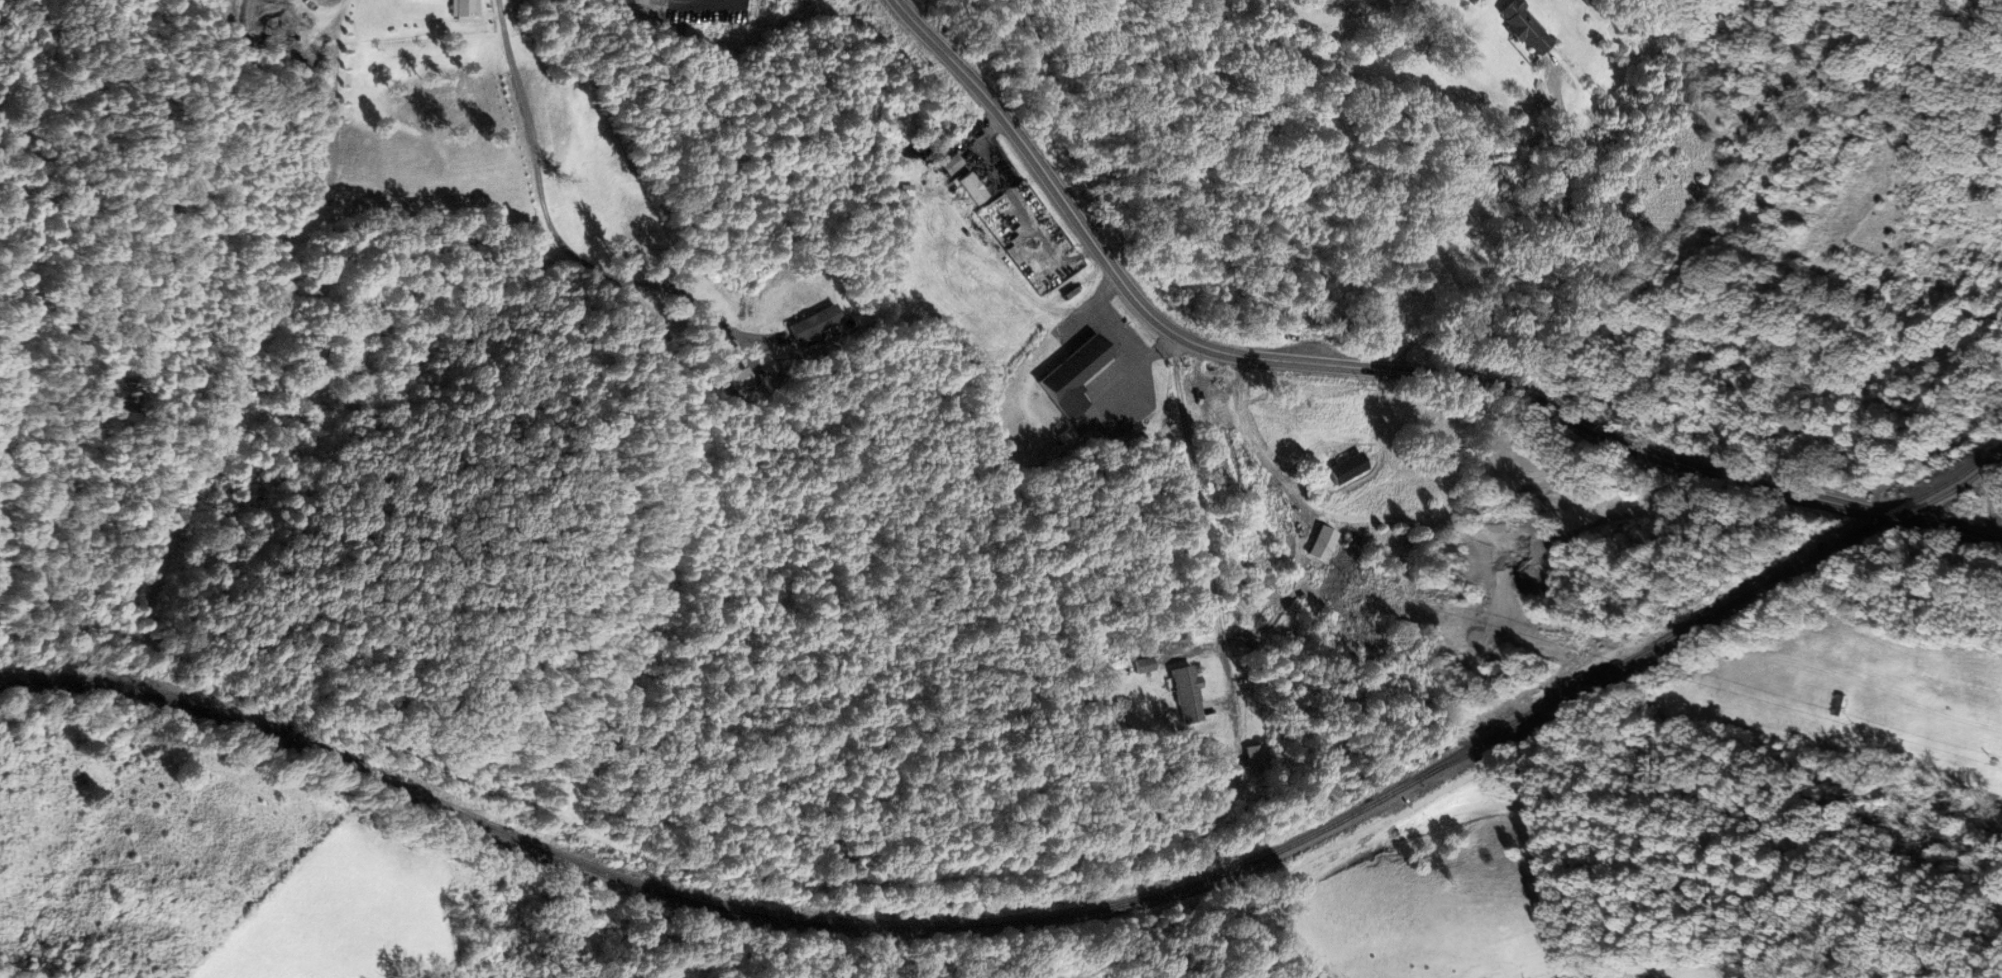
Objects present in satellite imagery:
building: (1521, 28)
building: (972, 190)
road: (1380, 370)
building: (1071, 376)
road: (1930, 459)
building: (1324, 472)
railway: (1963, 482)
railway: (1895, 520)
building: (1320, 543)
building: (1501, 544)
building: (1186, 694)
building: (1838, 705)
road: (697, 863)
road: (12, 906)
railway: (957, 926)

